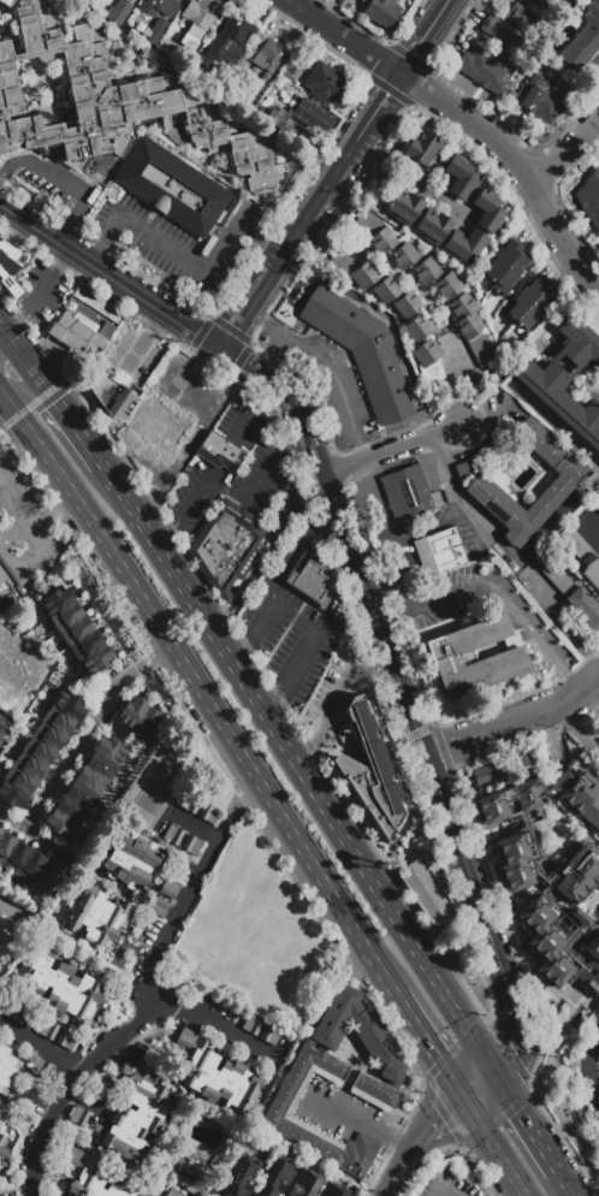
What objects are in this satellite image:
building: (5, 1)
building: (541, 2)
building: (156, 7)
building: (382, 11)
building: (118, 12)
building: (198, 19)
road: (407, 23)
building: (512, 26)
building: (156, 30)
road: (451, 32)
road: (425, 36)
road: (345, 37)
building: (230, 40)
building: (583, 40)
building: (266, 54)
road: (408, 54)
road: (375, 59)
building: (201, 66)
road: (431, 67)
building: (487, 71)
building: (327, 84)
road: (419, 85)
road: (386, 89)
building: (545, 97)
building: (109, 103)
road: (408, 105)
building: (275, 117)
building: (313, 117)
building: (422, 148)
road: (565, 150)
road: (348, 152)
road: (517, 165)
road: (413, 171)
road: (7, 173)
building: (461, 178)
road: (48, 179)
building: (173, 190)
road: (291, 199)
building: (589, 200)
building: (403, 206)
building: (488, 212)
road: (69, 221)
road: (326, 221)
building: (432, 226)
building: (374, 232)
building: (0, 236)
road: (332, 236)
building: (464, 245)
road: (96, 248)
road: (273, 249)
road: (285, 251)
building: (404, 255)
road: (189, 261)
building: (227, 265)
building: (12, 268)
building: (505, 268)
road: (99, 271)
building: (426, 271)
road: (397, 272)
building: (364, 276)
road: (51, 279)
building: (447, 285)
building: (387, 291)
building: (93, 302)
building: (529, 304)
building: (408, 306)
road: (247, 309)
road: (16, 319)
building: (417, 327)
road: (230, 330)
building: (473, 330)
building: (81, 332)
road: (200, 334)
road: (210, 343)
road: (2, 348)
building: (361, 353)
road: (239, 360)
road: (26, 361)
road: (322, 361)
building: (429, 365)
building: (567, 379)
road: (23, 385)
road: (458, 387)
building: (112, 395)
road: (41, 397)
road: (553, 421)
road: (78, 427)
road: (295, 448)
road: (392, 449)
road: (364, 450)
building: (220, 452)
road: (277, 455)
parking lot: (262, 468)
building: (561, 484)
building: (592, 486)
road: (123, 492)
road: (197, 492)
building: (409, 493)
building: (595, 503)
road: (57, 515)
road: (443, 521)
road: (45, 541)
building: (226, 546)
parking lot: (402, 550)
road: (268, 552)
building: (439, 552)
building: (581, 555)
road: (328, 559)
road: (518, 562)
building: (312, 581)
building: (8, 588)
building: (235, 590)
building: (568, 590)
road: (368, 599)
road: (441, 602)
road: (277, 606)
road: (557, 614)
road: (384, 618)
building: (76, 632)
parking lot: (290, 635)
road: (123, 637)
road: (534, 638)
road: (241, 649)
road: (248, 651)
road: (304, 655)
building: (475, 657)
road: (376, 667)
building: (83, 683)
road: (343, 689)
road: (203, 693)
parking lot: (334, 697)
road: (277, 700)
building: (138, 720)
road: (516, 724)
building: (2, 727)
road: (88, 728)
road: (277, 730)
road: (575, 733)
building: (598, 735)
road: (315, 742)
building: (40, 750)
building: (524, 760)
building: (370, 772)
building: (490, 774)
park: (156, 783)
building: (84, 788)
building: (579, 793)
building: (508, 801)
building: (190, 803)
building: (209, 813)
road: (30, 835)
building: (173, 835)
building: (421, 842)
building: (191, 846)
building: (130, 860)
building: (515, 862)
building: (28, 865)
building: (577, 875)
road: (194, 884)
building: (170, 888)
building: (426, 888)
building: (159, 907)
road: (480, 908)
building: (96, 914)
building: (579, 918)
building: (544, 941)
building: (591, 967)
building: (64, 988)
road: (452, 1002)
road: (511, 1002)
building: (12, 1010)
building: (595, 1023)
building: (251, 1025)
building: (48, 1029)
road: (215, 1029)
building: (269, 1035)
building: (66, 1040)
road: (432, 1044)
road: (40, 1048)
traffic signals: (512, 1048)
road: (506, 1049)
traffic signals: (441, 1056)
building: (8, 1068)
building: (40, 1068)
road: (588, 1068)
building: (214, 1077)
building: (342, 1078)
road: (479, 1080)
road: (70, 1084)
road: (533, 1087)
building: (106, 1090)
building: (24, 1096)
road: (514, 1097)
traffic signals: (521, 1109)
road: (441, 1112)
building: (137, 1114)
traffic signals: (439, 1114)
building: (79, 1117)
road: (360, 1124)
road: (484, 1125)
road: (417, 1137)
building: (251, 1142)
building: (4, 1147)
road: (547, 1149)
building: (0, 1166)
building: (191, 1176)
road: (517, 1176)
building: (241, 1177)
building: (278, 1177)
building: (90, 1178)
building: (304, 1183)
road: (569, 1183)
building: (332, 1190)
road: (443, 1191)
road: (520, 1191)
building: (173, 1192)
road: (385, 1195)

